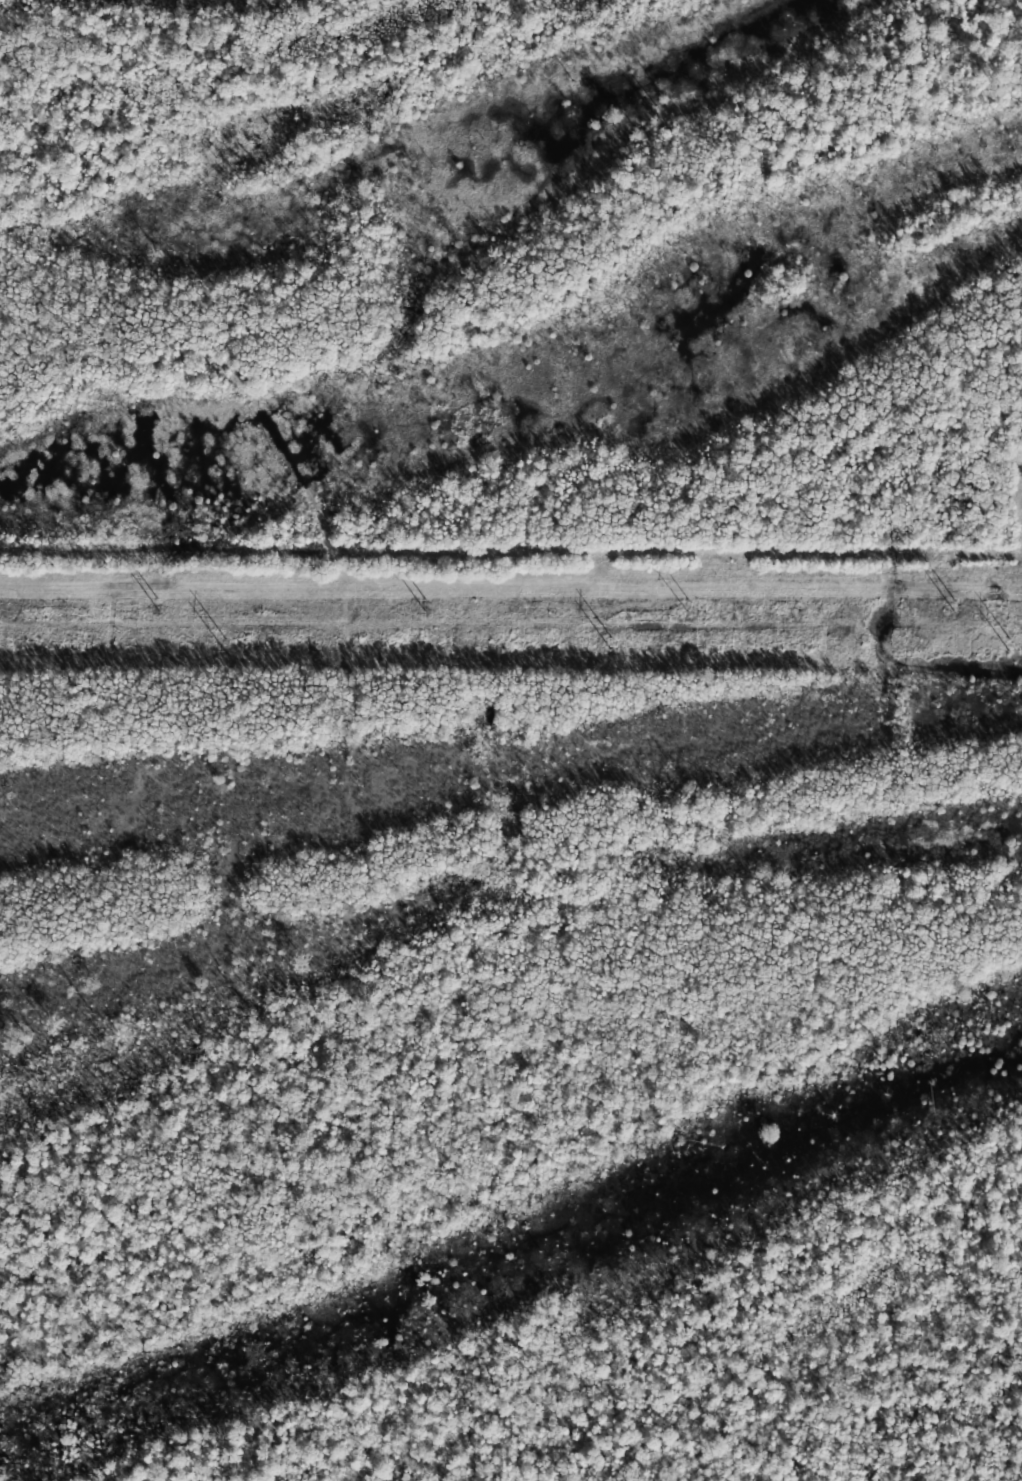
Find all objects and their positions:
power tower: (233, 647)
power tower: (1009, 648)

